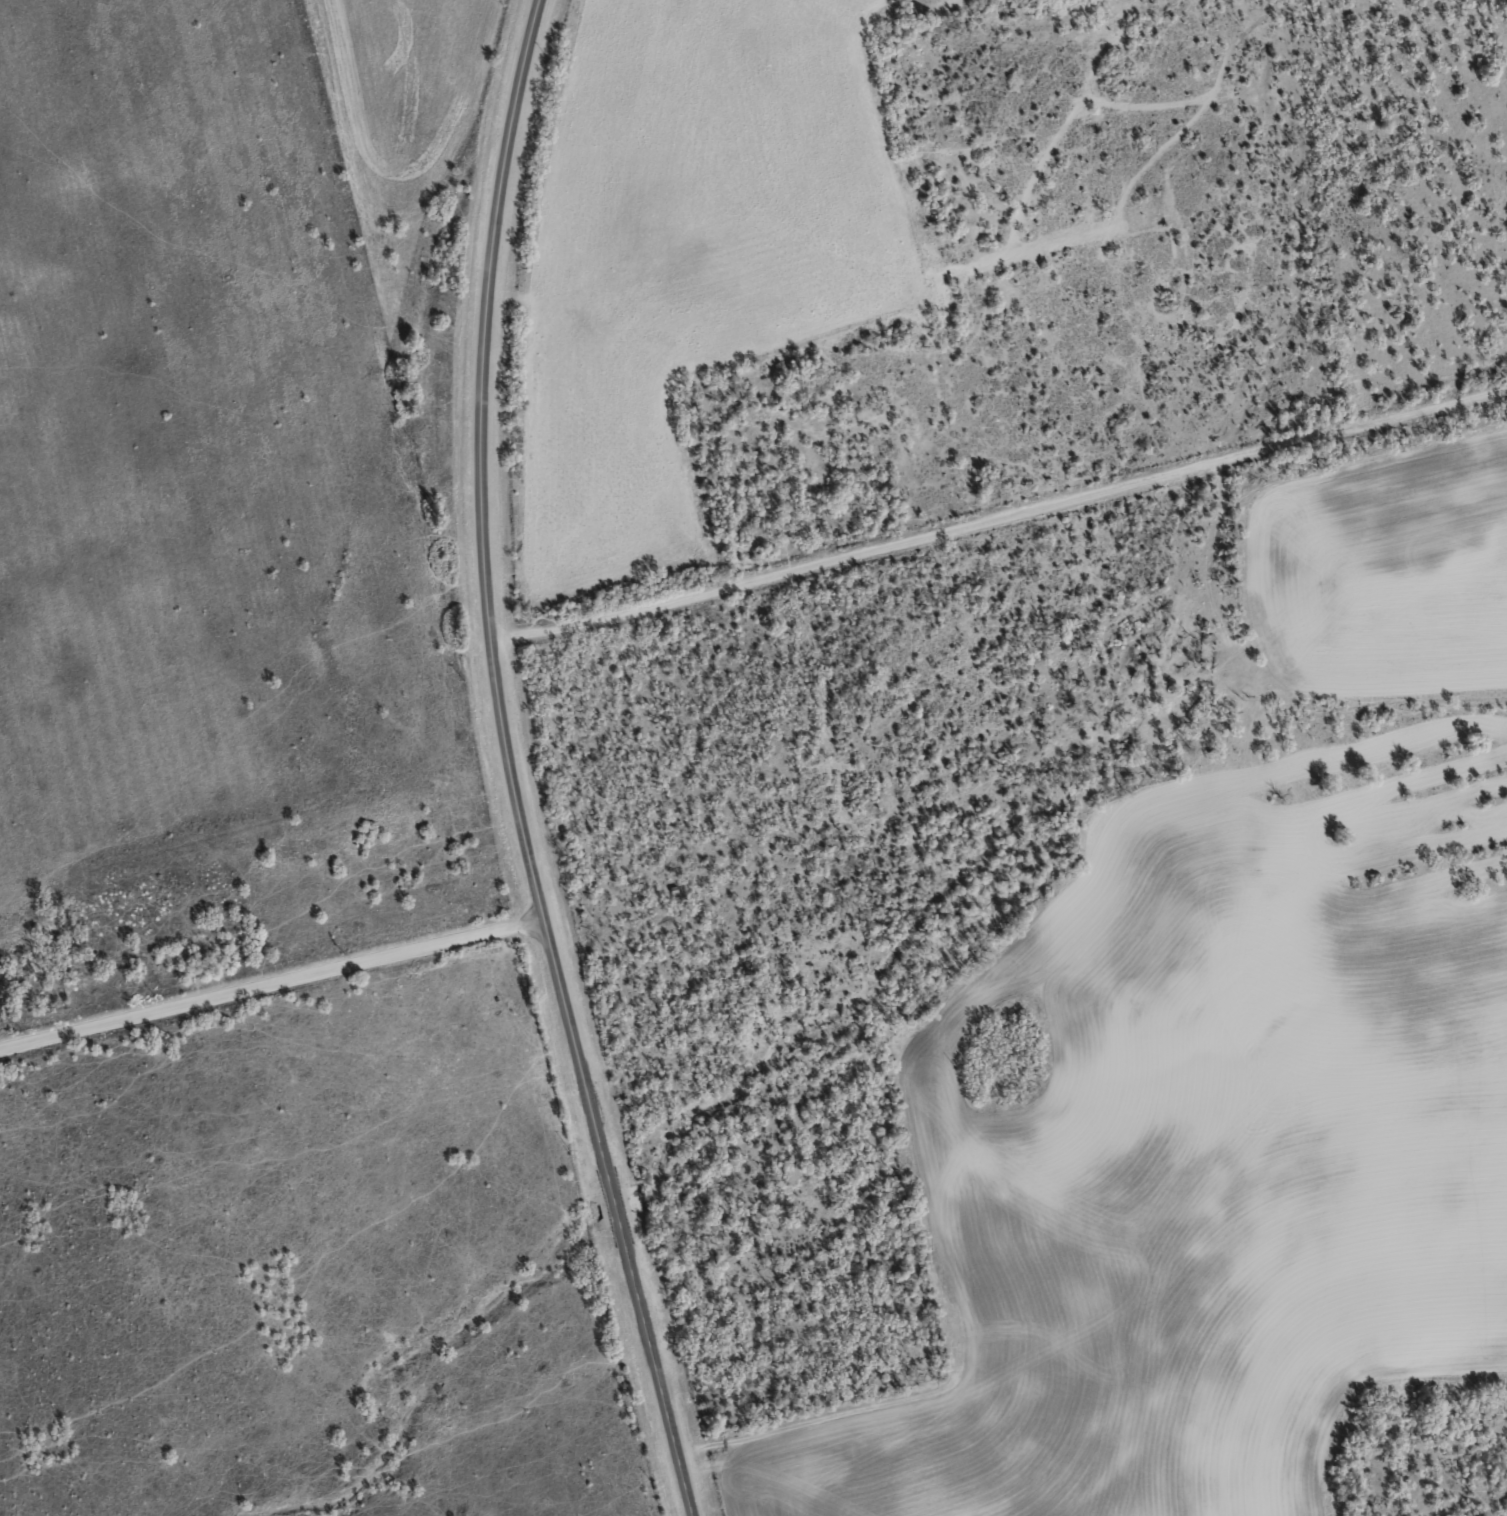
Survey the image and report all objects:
road: (1001, 556)
road: (511, 765)
road: (272, 987)

